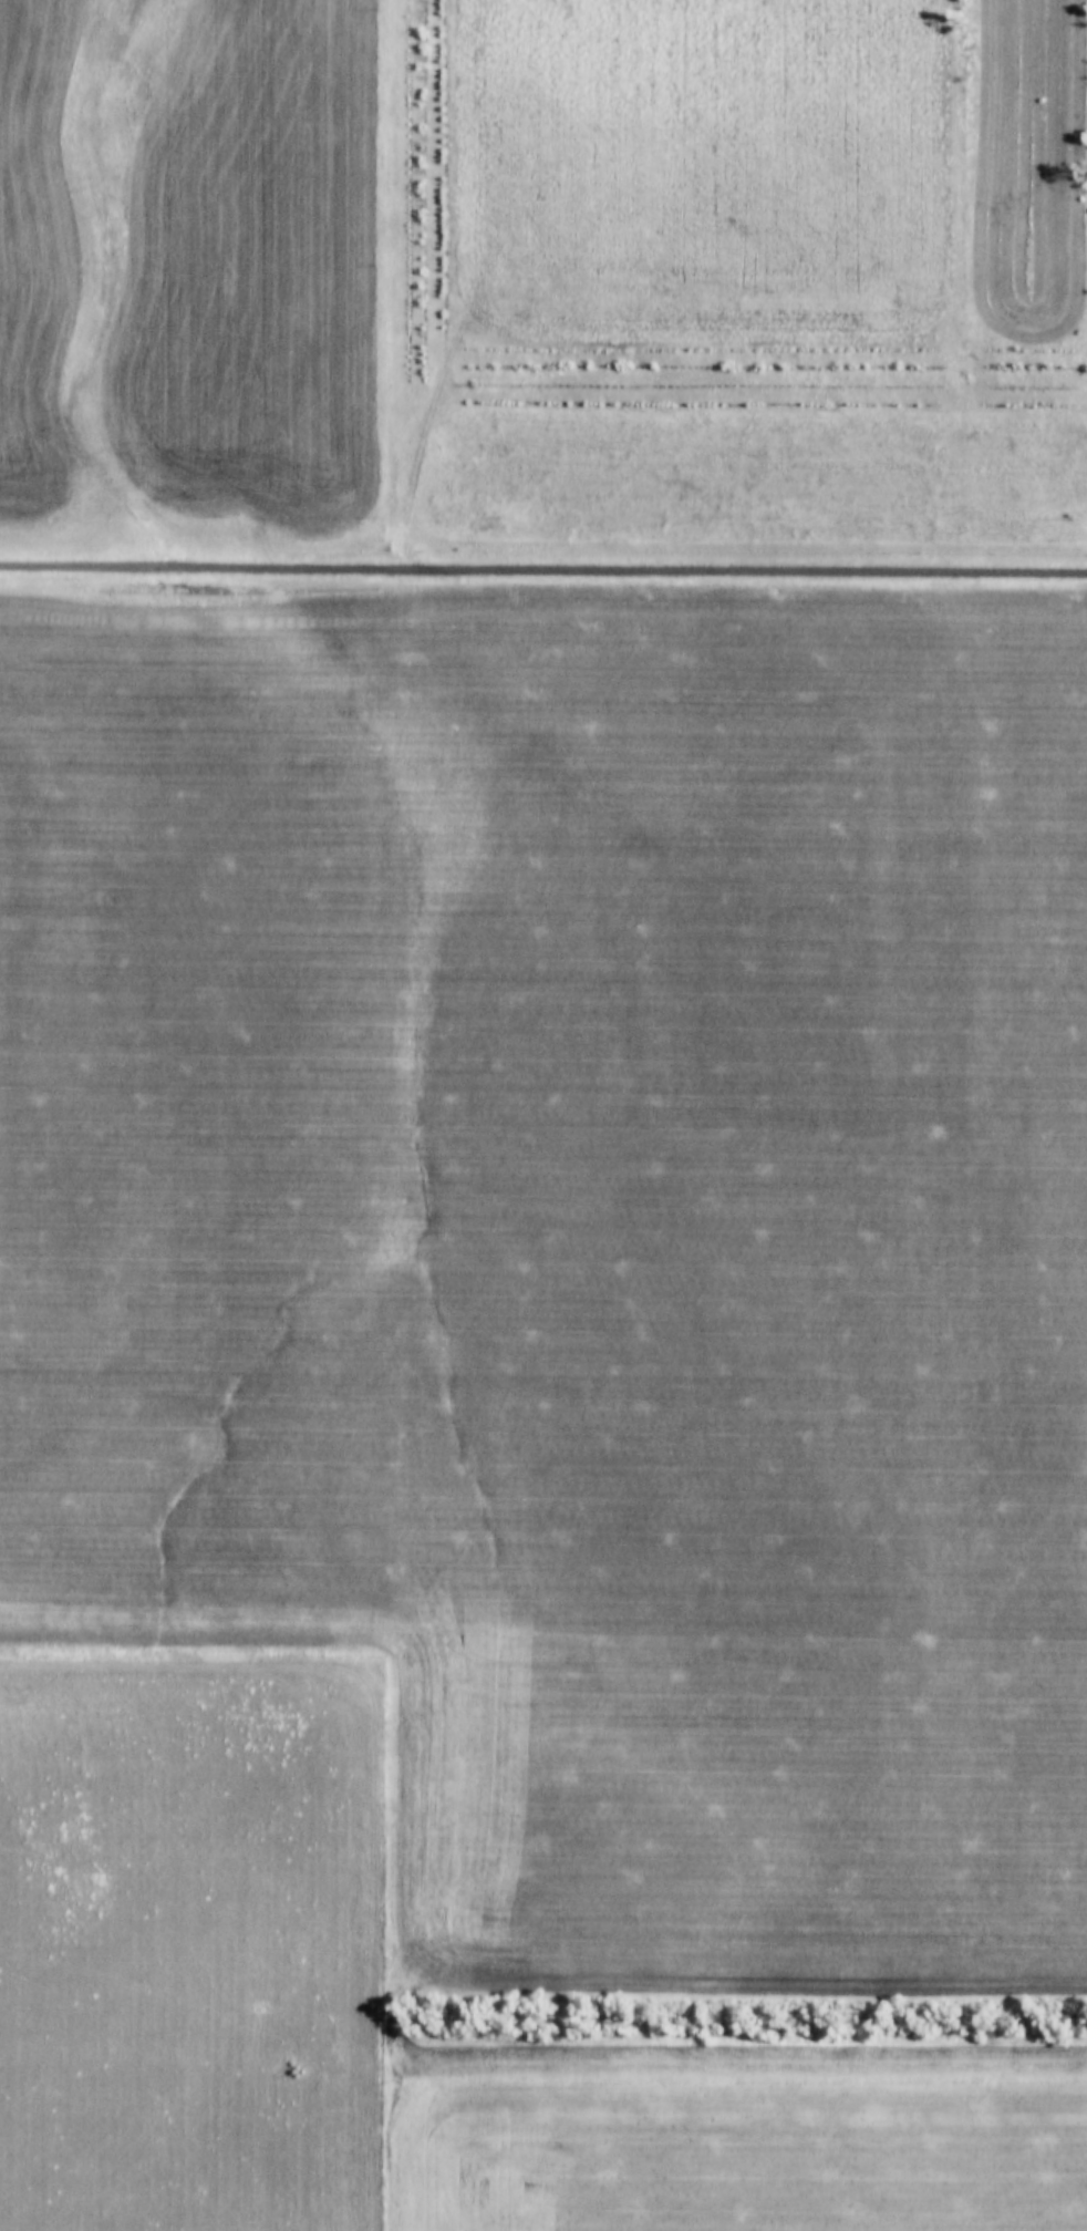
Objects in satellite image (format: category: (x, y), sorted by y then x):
road: (542, 575)

